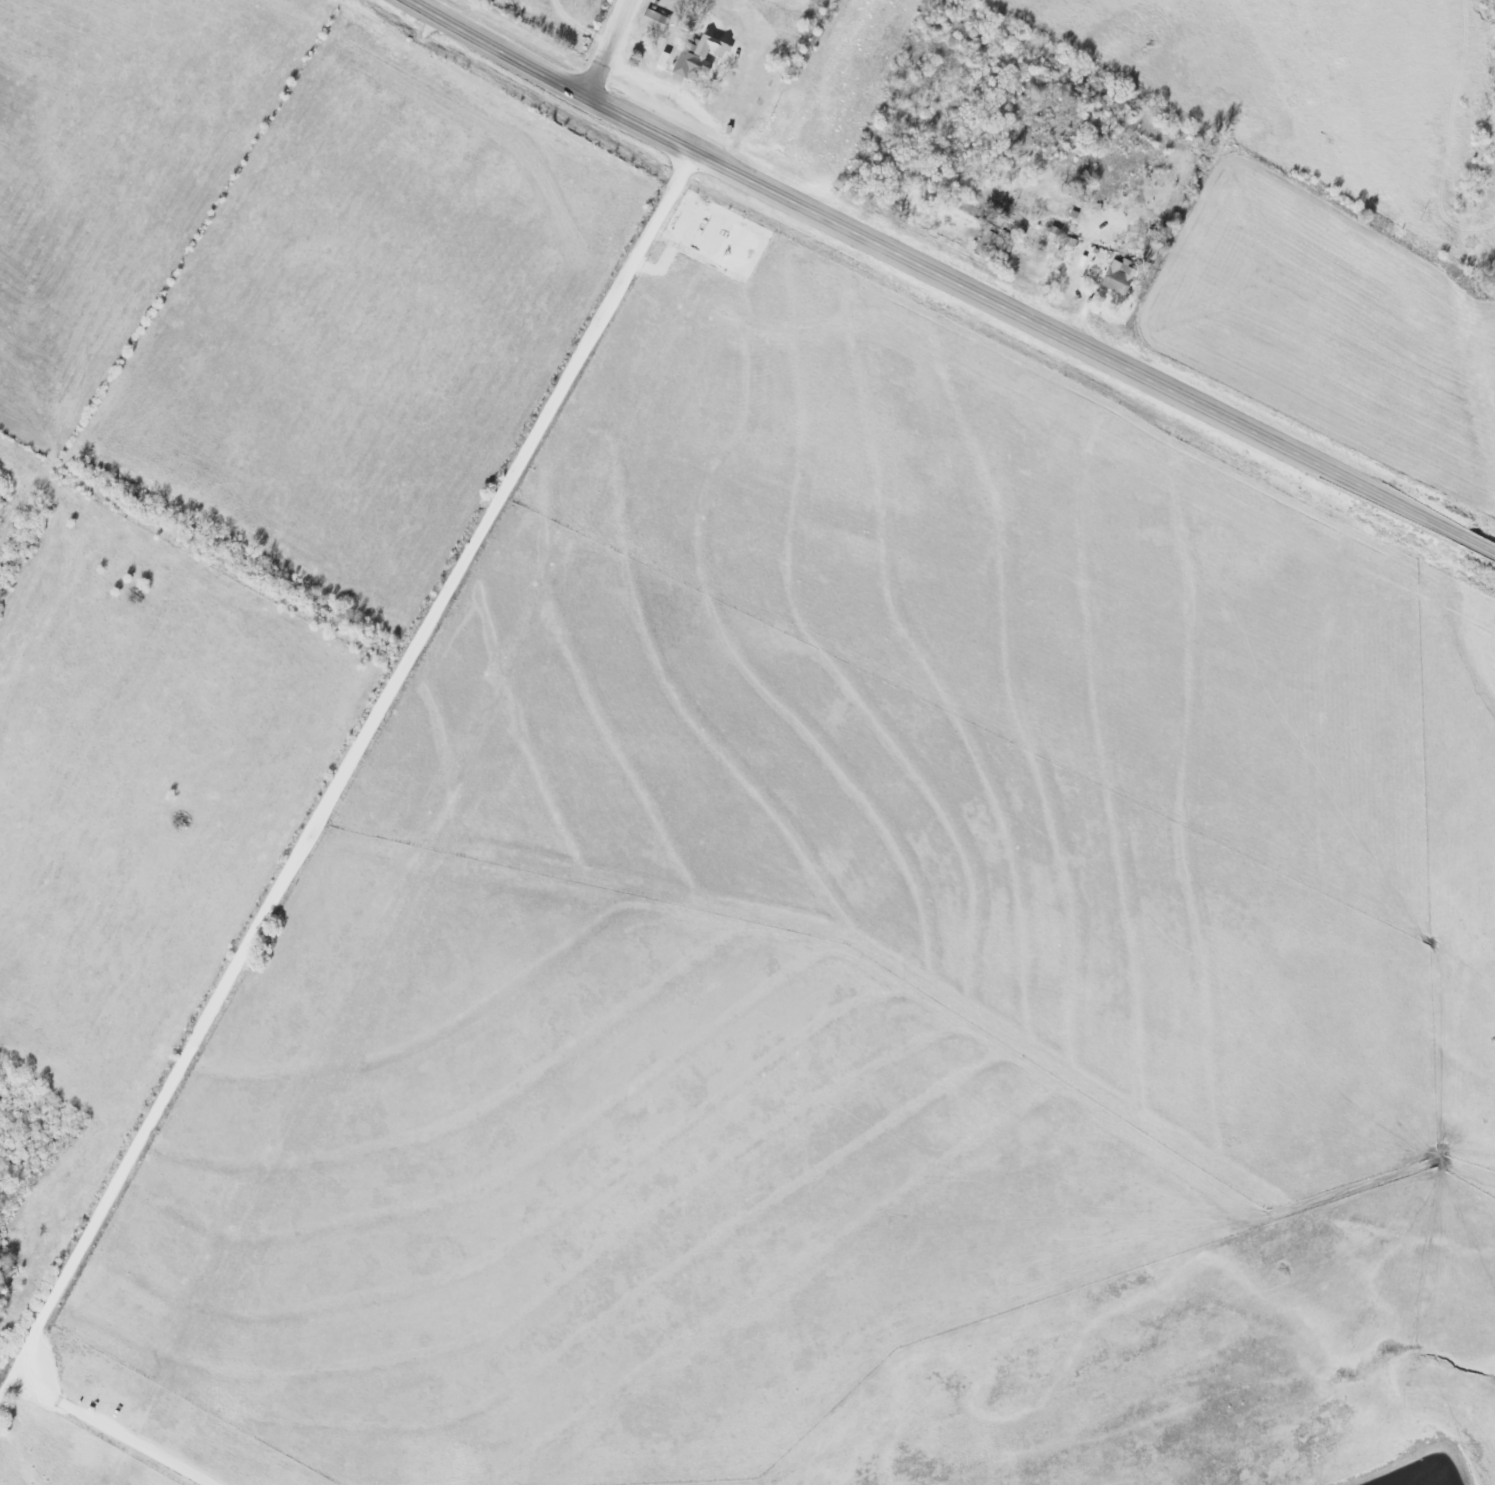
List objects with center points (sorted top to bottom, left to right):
building: (657, 20)
road: (498, 48)
road: (608, 48)
building: (700, 56)
building: (664, 59)
building: (1056, 234)
building: (1120, 277)
road: (1038, 326)
road: (342, 780)
road: (115, 1429)

